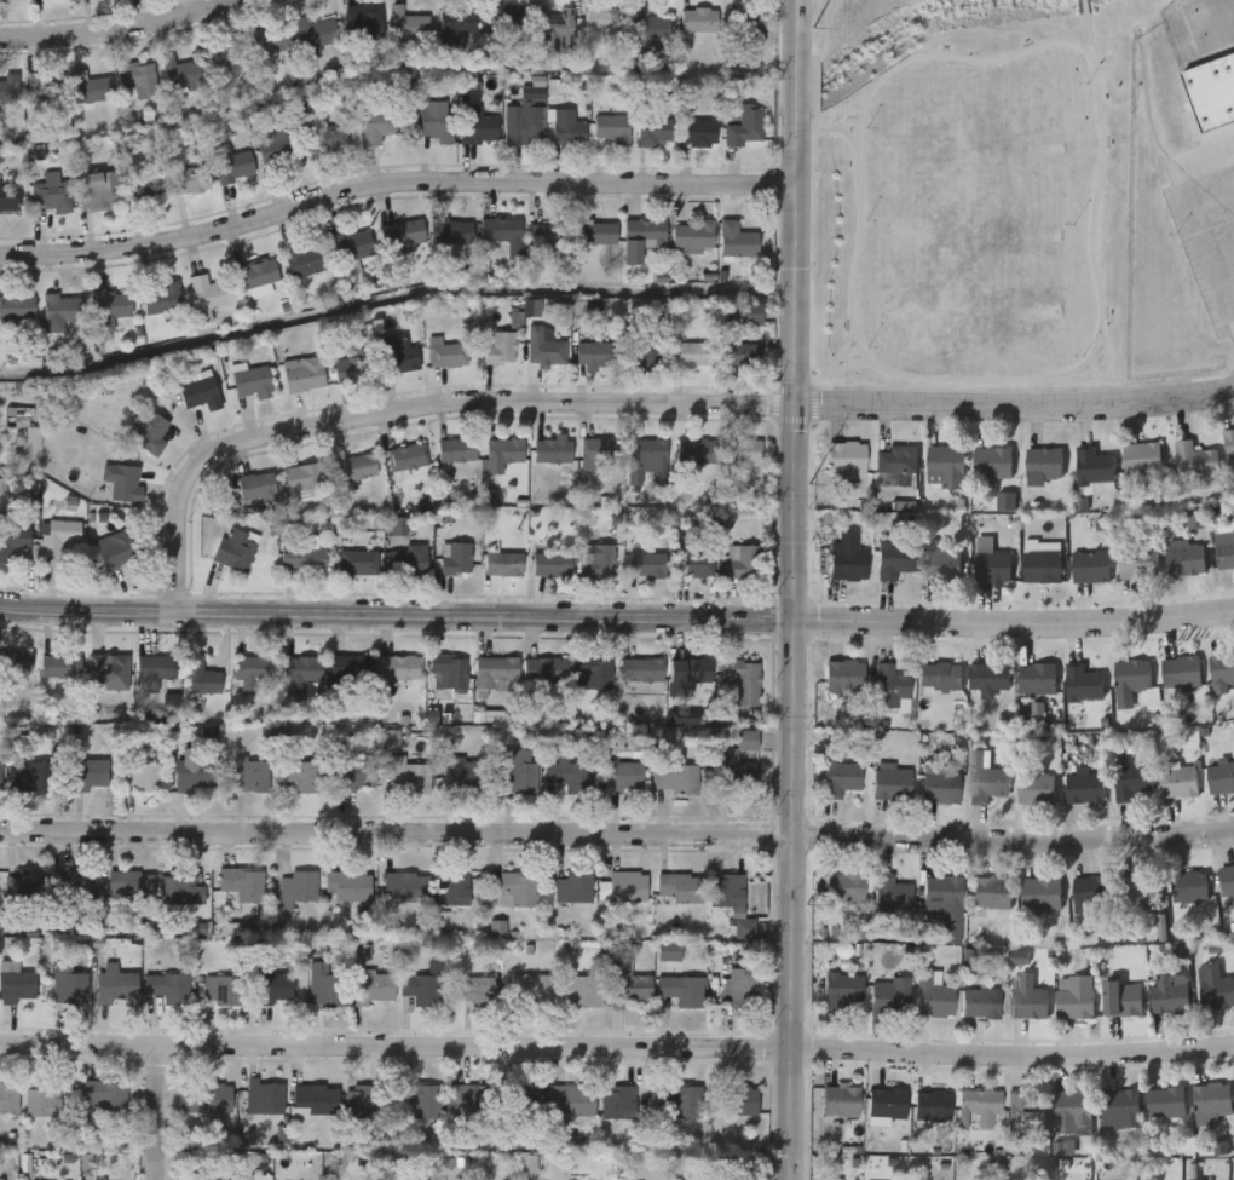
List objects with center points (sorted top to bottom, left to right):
building: (10, 0)
road: (1083, 5)
building: (503, 17)
building: (700, 21)
building: (363, 23)
building: (602, 23)
building: (549, 25)
road: (1085, 25)
building: (406, 27)
building: (456, 27)
building: (746, 28)
building: (648, 29)
road: (121, 33)
building: (312, 36)
power tower: (811, 39)
building: (269, 40)
road: (933, 53)
building: (225, 54)
road: (817, 62)
building: (180, 75)
building: (138, 79)
building: (8, 88)
building: (45, 88)
building: (88, 90)
building: (1211, 92)
building: (1174, 122)
building: (433, 125)
building: (524, 125)
building: (377, 126)
building: (745, 127)
building: (479, 129)
building: (564, 129)
building: (611, 129)
building: (653, 133)
building: (698, 133)
building: (330, 140)
building: (277, 150)
road: (1224, 150)
building: (1190, 166)
building: (232, 168)
building: (188, 180)
road: (1224, 183)
building: (142, 190)
building: (97, 191)
road: (392, 191)
park: (970, 192)
building: (51, 196)
building: (8, 200)
road: (795, 202)
road: (1092, 209)
road: (1196, 223)
building: (450, 231)
building: (498, 231)
building: (595, 234)
building: (402, 235)
building: (547, 236)
building: (692, 236)
building: (642, 240)
building: (737, 241)
building: (352, 246)
building: (304, 261)
road: (853, 264)
building: (256, 277)
building: (208, 293)
building: (162, 299)
building: (17, 307)
building: (62, 309)
building: (110, 310)
road: (1232, 312)
building: (498, 350)
building: (543, 350)
building: (645, 351)
building: (738, 351)
building: (691, 355)
building: (398, 356)
building: (595, 356)
building: (448, 357)
road: (852, 363)
building: (352, 369)
road: (961, 369)
road: (1111, 370)
building: (302, 374)
building: (252, 382)
building: (200, 392)
road: (1013, 405)
road: (411, 408)
building: (150, 434)
building: (1228, 444)
building: (599, 450)
building: (456, 451)
building: (552, 451)
building: (694, 453)
building: (742, 453)
building: (502, 454)
building: (1141, 456)
building: (844, 457)
building: (408, 459)
building: (1193, 459)
building: (895, 460)
building: (1043, 461)
building: (646, 462)
building: (991, 464)
building: (945, 465)
building: (356, 468)
building: (1092, 470)
power tower: (808, 477)
building: (302, 479)
building: (125, 484)
building: (256, 488)
building: (58, 537)
building: (1224, 540)
building: (12, 542)
building: (115, 551)
building: (235, 551)
building: (847, 557)
building: (892, 557)
building: (1183, 557)
building: (304, 559)
building: (693, 559)
building: (455, 560)
building: (1040, 560)
building: (408, 562)
building: (598, 562)
building: (939, 562)
building: (1137, 562)
building: (743, 563)
building: (357, 564)
building: (991, 564)
building: (503, 565)
building: (550, 565)
building: (646, 565)
building: (1089, 565)
road: (617, 621)
building: (15, 664)
building: (1222, 667)
building: (59, 668)
building: (399, 669)
building: (543, 670)
building: (1180, 670)
building: (154, 672)
building: (253, 672)
building: (641, 672)
building: (690, 672)
building: (350, 673)
building: (448, 673)
building: (496, 673)
building: (593, 674)
building: (843, 674)
building: (103, 675)
building: (299, 675)
building: (1131, 675)
building: (939, 677)
building: (985, 677)
building: (201, 678)
building: (1034, 678)
building: (1082, 681)
building: (743, 683)
building: (889, 685)
building: (518, 771)
building: (196, 775)
building: (88, 776)
building: (139, 776)
building: (250, 776)
building: (300, 776)
building: (463, 776)
building: (838, 776)
building: (1219, 776)
building: (357, 777)
building: (736, 777)
building: (984, 777)
building: (0, 778)
building: (30, 778)
building: (410, 778)
building: (567, 778)
building: (1128, 778)
building: (623, 779)
building: (674, 779)
building: (1176, 781)
building: (890, 783)
building: (940, 787)
building: (1034, 787)
building: (1084, 787)
road: (790, 792)
road: (617, 837)
building: (1226, 879)
building: (243, 885)
building: (844, 886)
building: (1188, 886)
building: (131, 887)
building: (79, 888)
building: (300, 888)
building: (348, 888)
building: (405, 888)
building: (23, 890)
building: (573, 890)
building: (628, 890)
building: (680, 890)
building: (454, 891)
building: (517, 891)
building: (183, 892)
building: (727, 892)
building: (990, 892)
building: (889, 893)
building: (1039, 893)
building: (1090, 893)
building: (1135, 897)
building: (942, 900)
power tower: (805, 905)
building: (65, 983)
building: (16, 985)
building: (1213, 985)
building: (125, 988)
building: (374, 988)
building: (167, 989)
building: (738, 989)
building: (325, 990)
building: (421, 990)
building: (530, 990)
building: (630, 990)
building: (1169, 990)
building: (271, 991)
building: (479, 991)
building: (682, 991)
building: (841, 991)
building: (223, 992)
building: (583, 992)
building: (932, 994)
building: (888, 995)
building: (1073, 996)
building: (1026, 997)
building: (1121, 997)
building: (980, 1002)
road: (617, 1049)
building: (1, 1096)
building: (104, 1096)
building: (204, 1099)
building: (264, 1099)
building: (838, 1099)
building: (1210, 1099)
building: (679, 1100)
building: (45, 1101)
building: (361, 1101)
building: (469, 1101)
building: (738, 1101)
building: (1164, 1101)
building: (315, 1103)
building: (422, 1103)
building: (617, 1103)
building: (884, 1103)
building: (570, 1104)
building: (979, 1104)
building: (531, 1105)
building: (932, 1105)
building: (1119, 1107)
building: (1071, 1111)
road: (156, 1112)
building: (1023, 1113)
building: (825, 1179)

